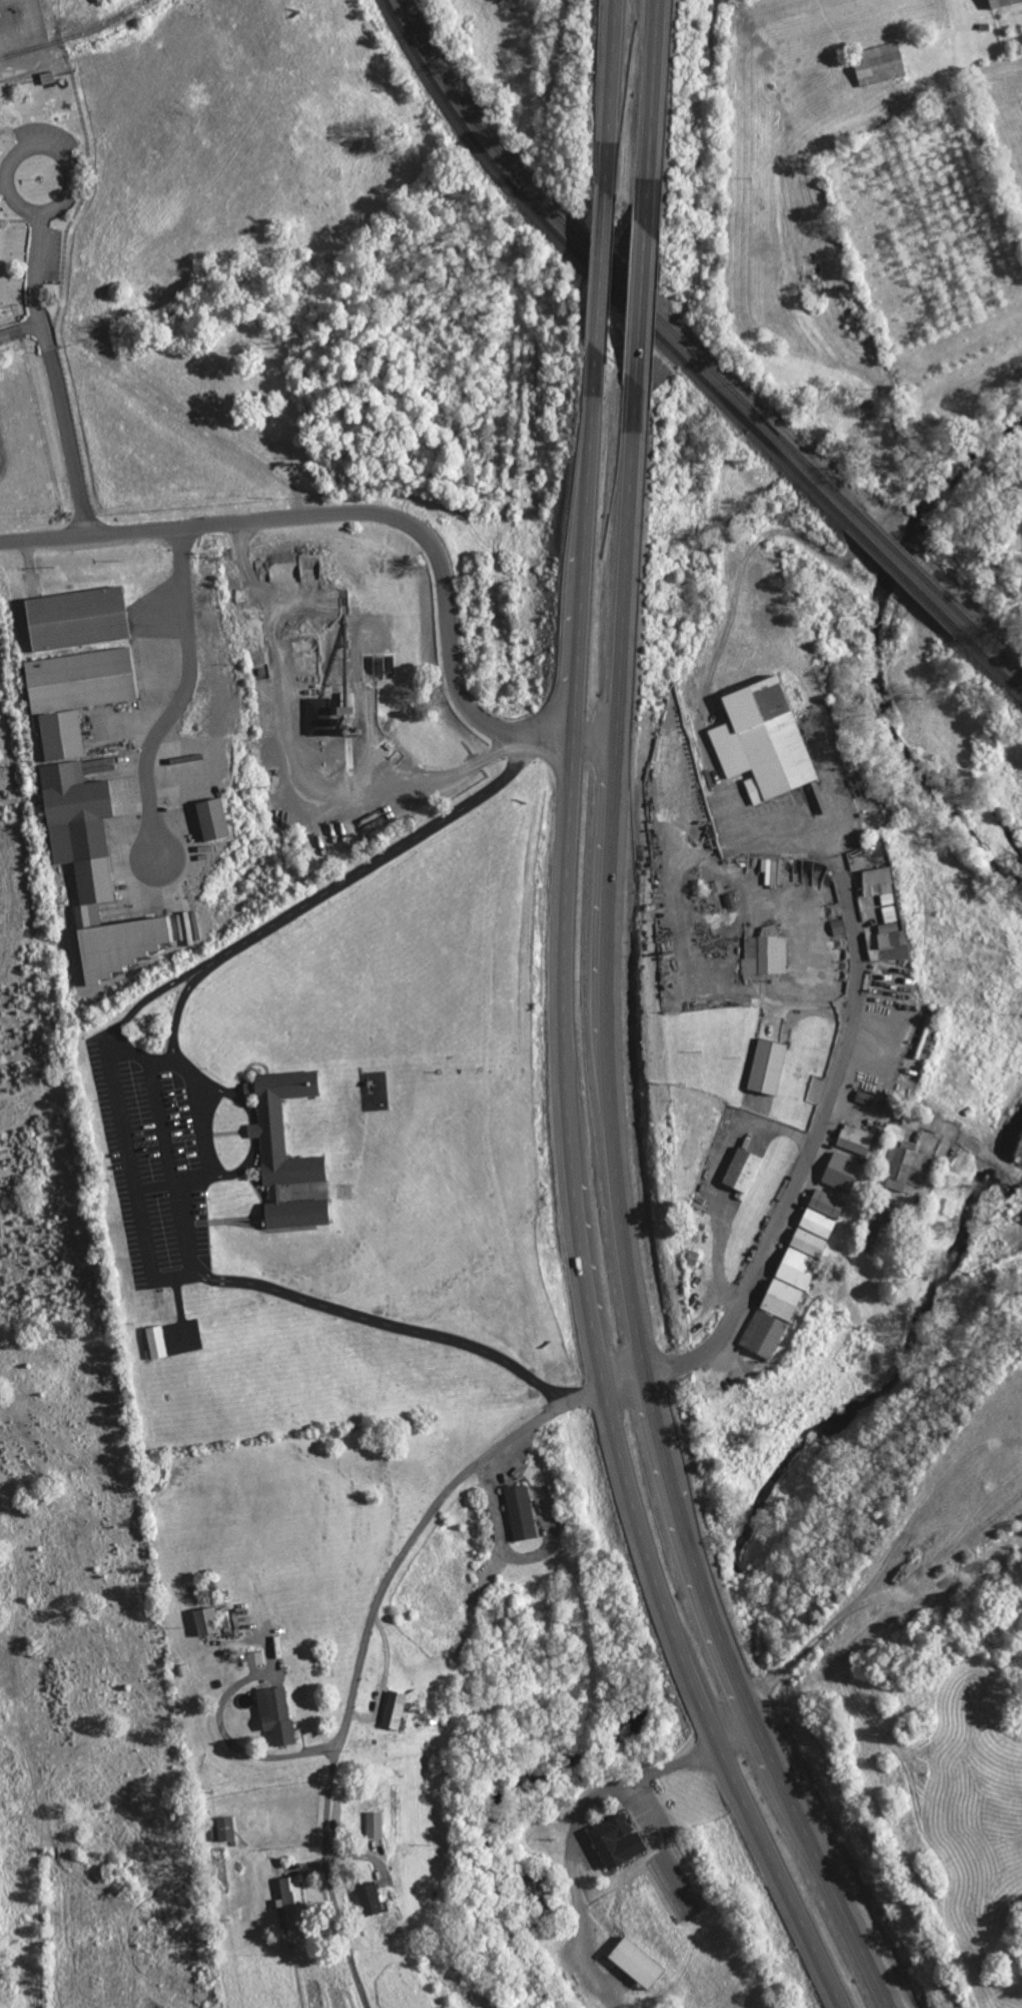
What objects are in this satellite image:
building: (1003, 2)
railway: (76, 34)
railway: (29, 48)
building: (880, 63)
road: (612, 96)
road: (654, 114)
road: (16, 197)
road: (38, 267)
road: (603, 268)
road: (643, 302)
railway: (693, 349)
railway: (685, 358)
road: (61, 408)
road: (381, 518)
building: (78, 618)
building: (75, 694)
road: (184, 697)
building: (320, 715)
building: (764, 740)
building: (214, 819)
building: (771, 871)
building: (94, 872)
building: (730, 899)
building: (887, 914)
road: (277, 937)
building: (765, 953)
building: (767, 1067)
building: (855, 1139)
building: (273, 1146)
building: (907, 1166)
building: (742, 1171)
building: (843, 1172)
road: (576, 1200)
building: (828, 1204)
road: (621, 1216)
building: (799, 1265)
building: (764, 1334)
building: (156, 1342)
road: (562, 1405)
building: (521, 1511)
building: (206, 1620)
building: (394, 1708)
building: (276, 1714)
building: (375, 1823)
building: (617, 1840)
building: (370, 1897)
building: (293, 1901)
building: (637, 1962)

